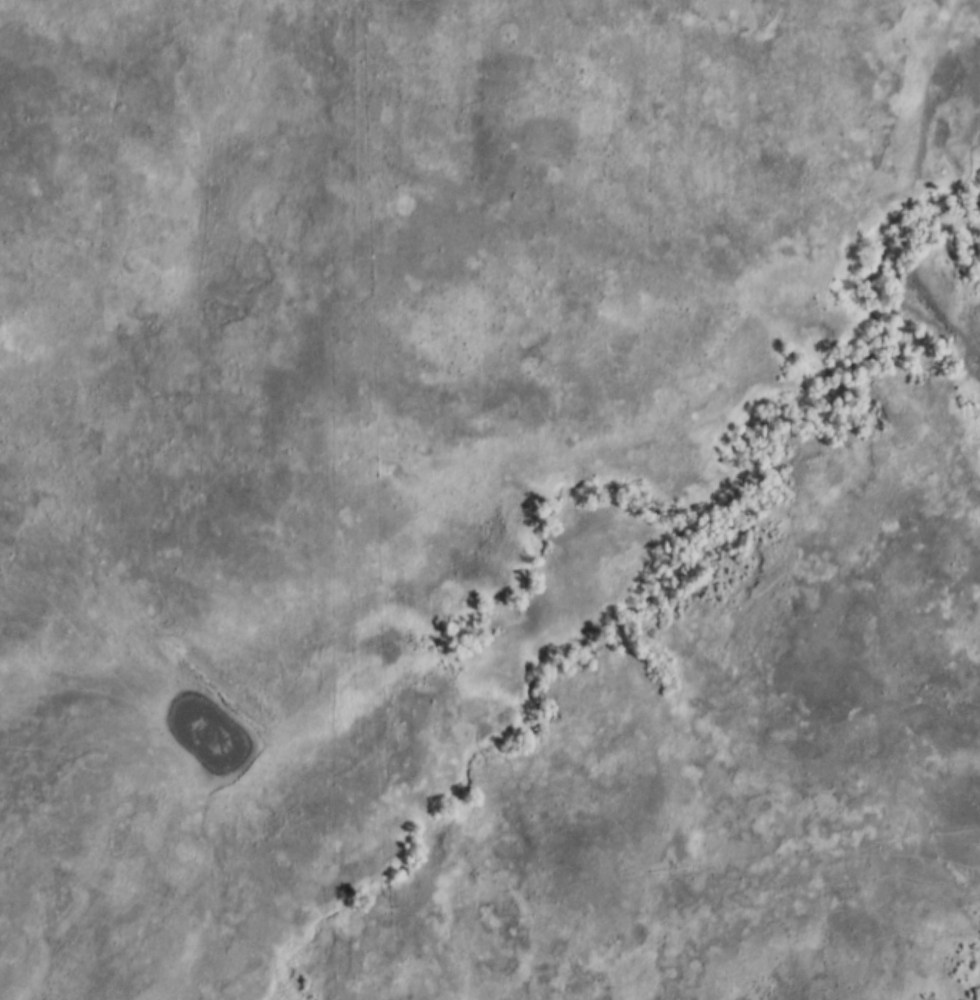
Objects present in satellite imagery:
road: (61, 565)

